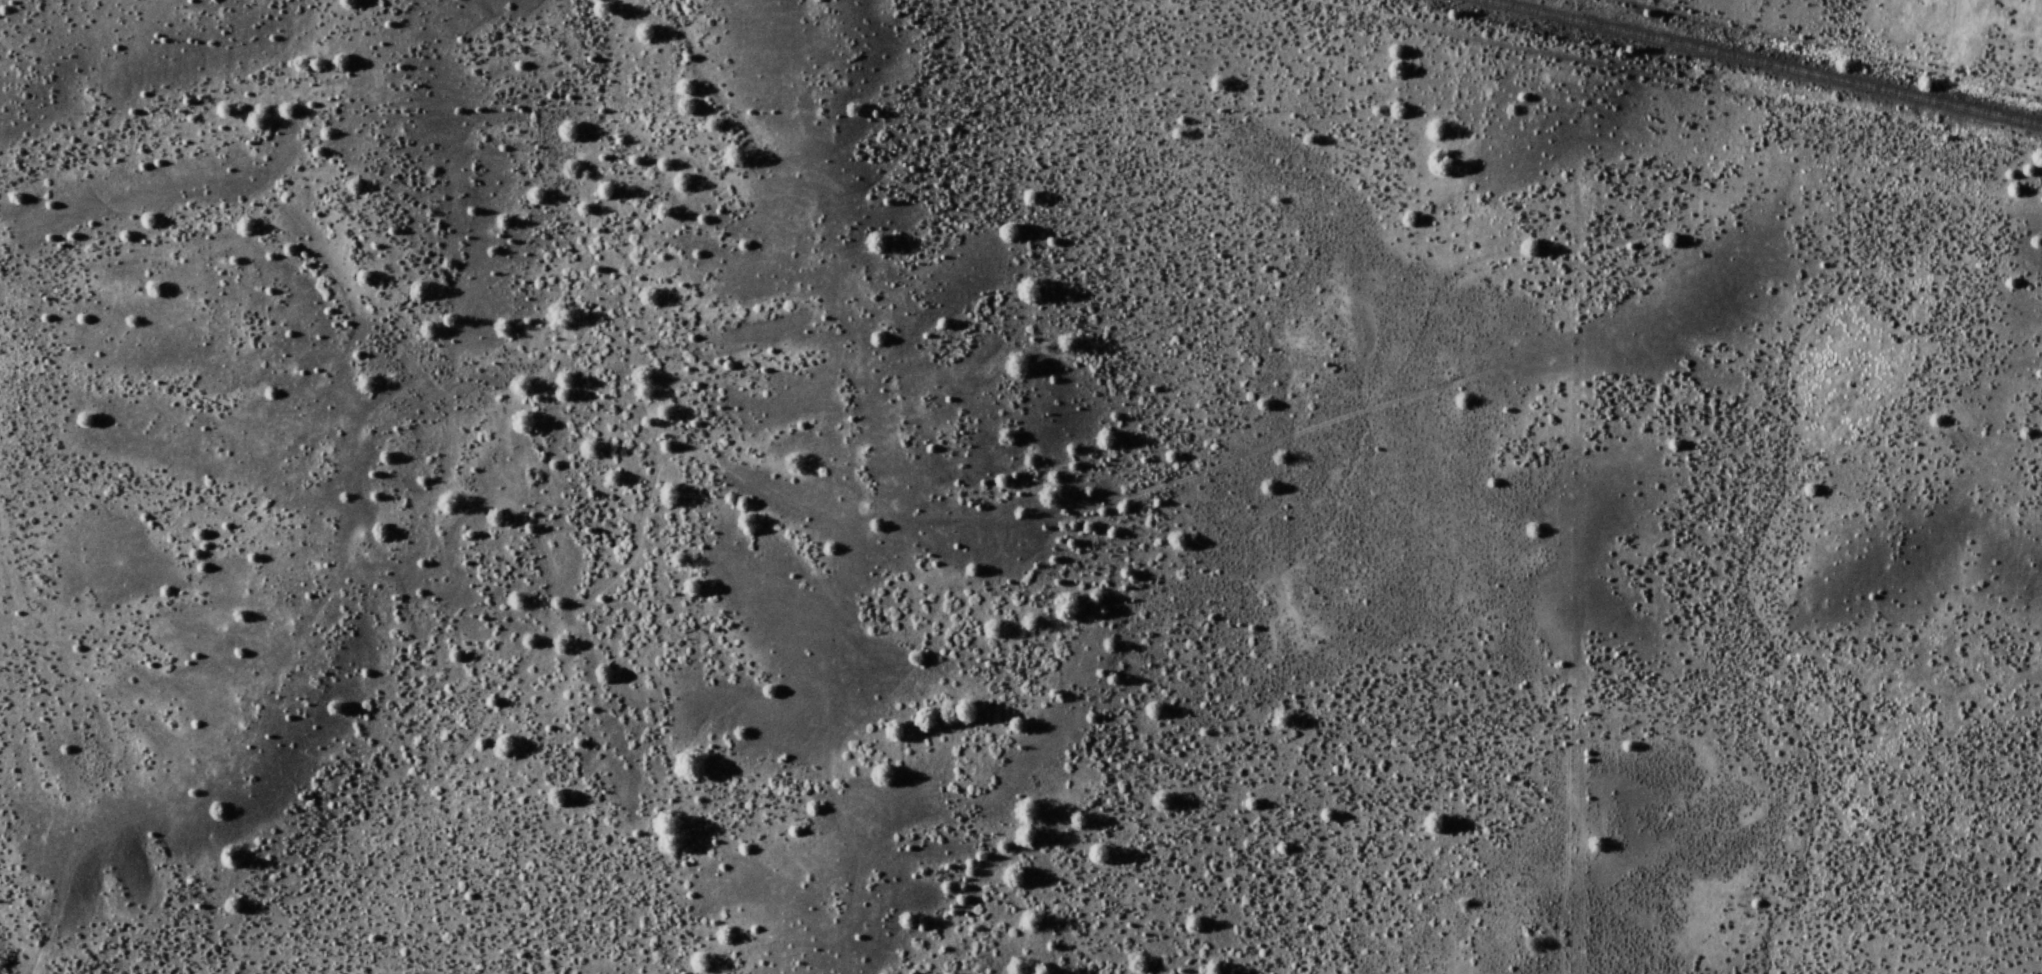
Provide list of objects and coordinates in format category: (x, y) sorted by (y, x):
railway: (1761, 62)

